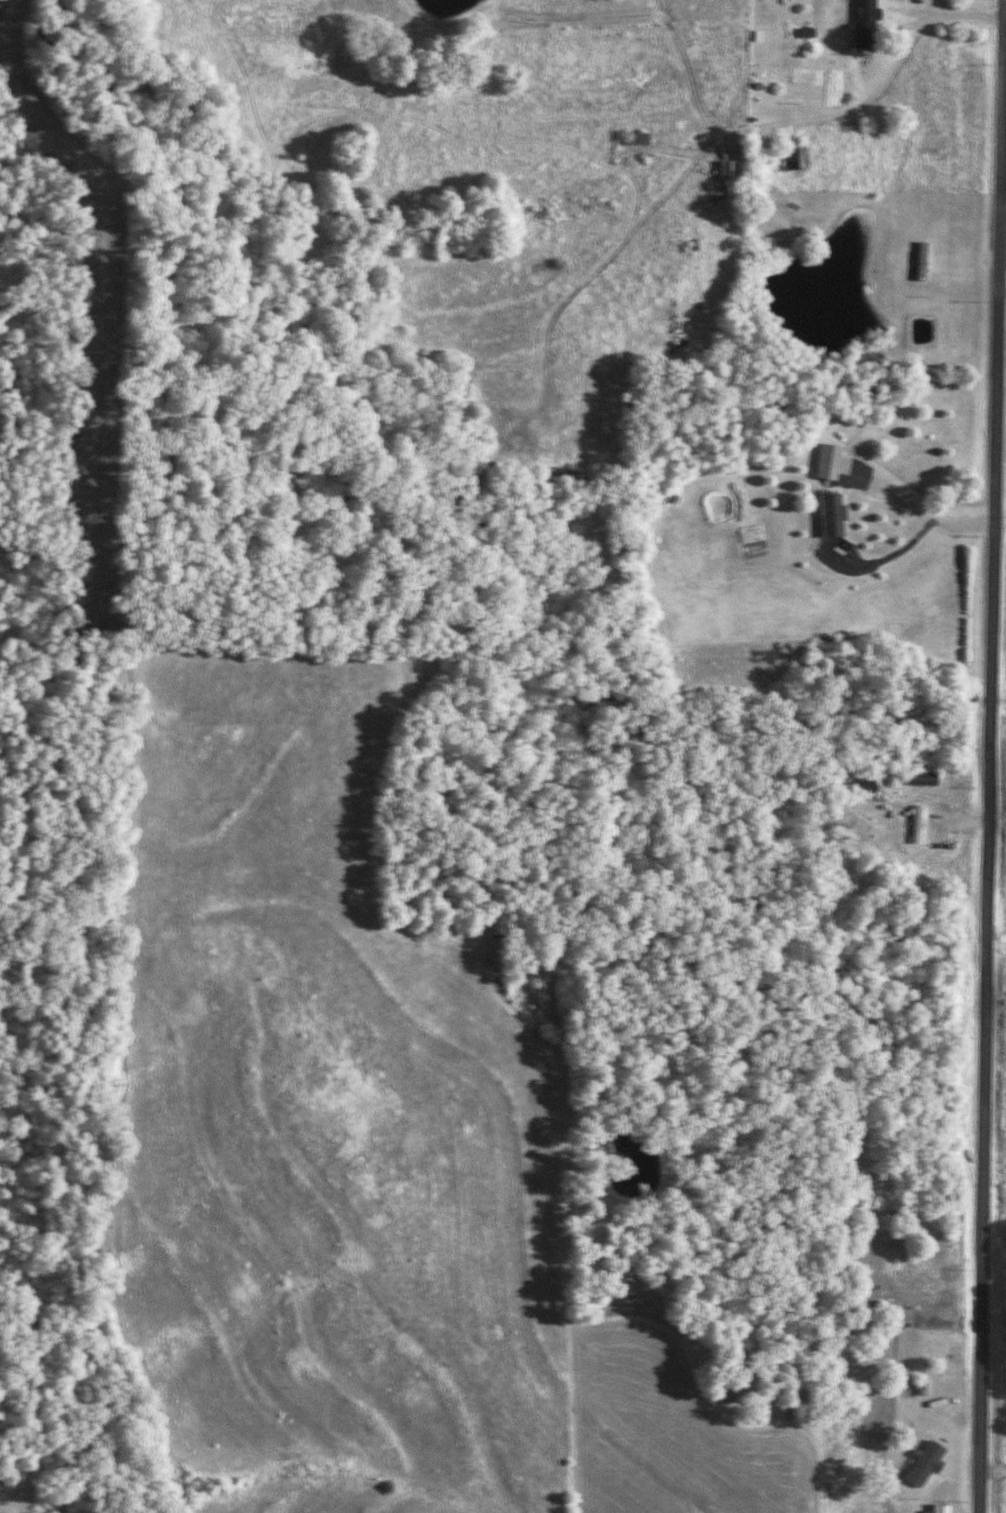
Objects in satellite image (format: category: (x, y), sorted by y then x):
road: (954, 17)
building: (867, 23)
building: (640, 137)
building: (797, 159)
building: (729, 169)
building: (829, 461)
road: (922, 500)
building: (834, 515)
building: (918, 824)
road: (993, 829)
building: (926, 1462)
building: (941, 1508)

